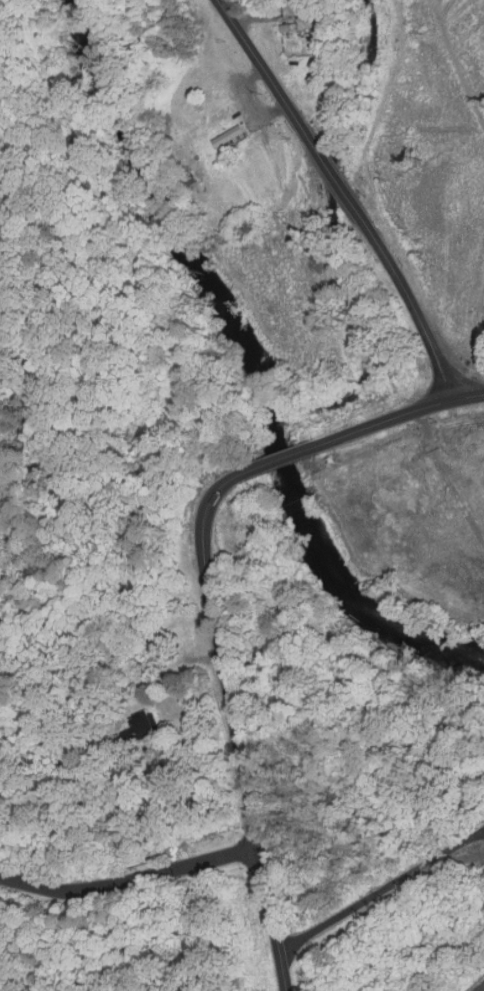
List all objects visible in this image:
building: (218, 121)
building: (233, 137)
road: (346, 194)
building: (141, 584)
road: (211, 598)
building: (143, 731)
road: (129, 883)

